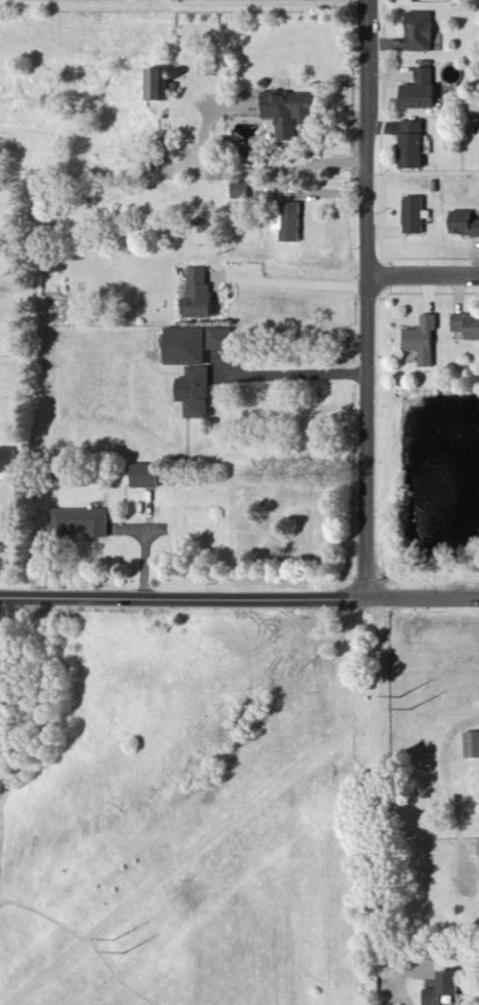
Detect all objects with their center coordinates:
building: (424, 33)
building: (162, 87)
building: (425, 93)
building: (294, 114)
building: (416, 147)
road: (235, 167)
building: (244, 192)
building: (417, 218)
building: (295, 225)
building: (465, 226)
road: (424, 278)
road: (289, 285)
building: (196, 292)
road: (367, 299)
building: (468, 326)
building: (425, 341)
building: (199, 345)
road: (289, 373)
building: (199, 392)
building: (11, 461)
building: (150, 477)
building: (83, 524)
road: (239, 598)
power tower: (402, 698)
power tower: (411, 710)
building: (473, 746)
road: (384, 777)
power tower: (116, 941)
power tower: (127, 953)
road: (383, 980)
road: (399, 980)
building: (446, 988)

